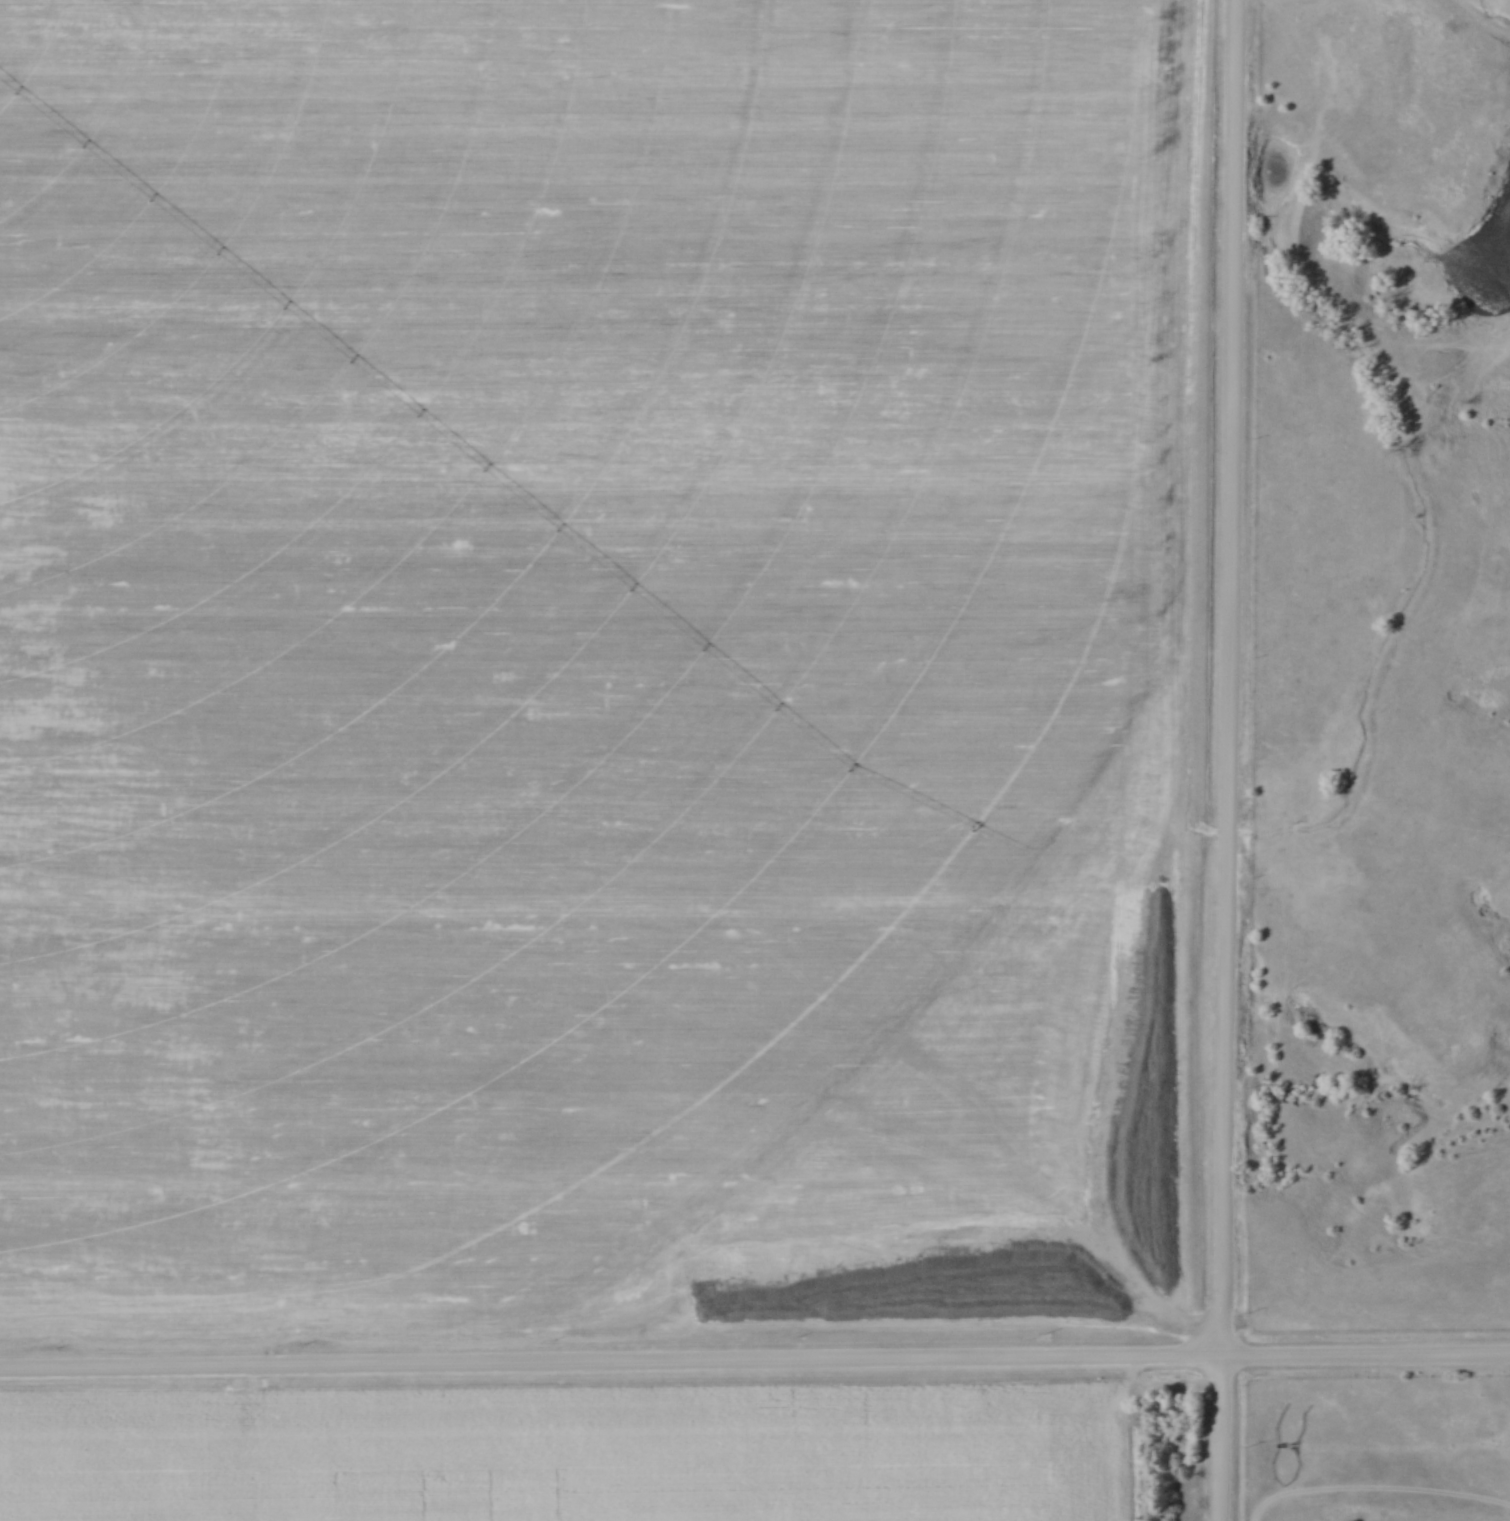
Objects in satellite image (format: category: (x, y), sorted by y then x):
road: (1228, 760)
road: (754, 1356)
crop: (573, 1455)

